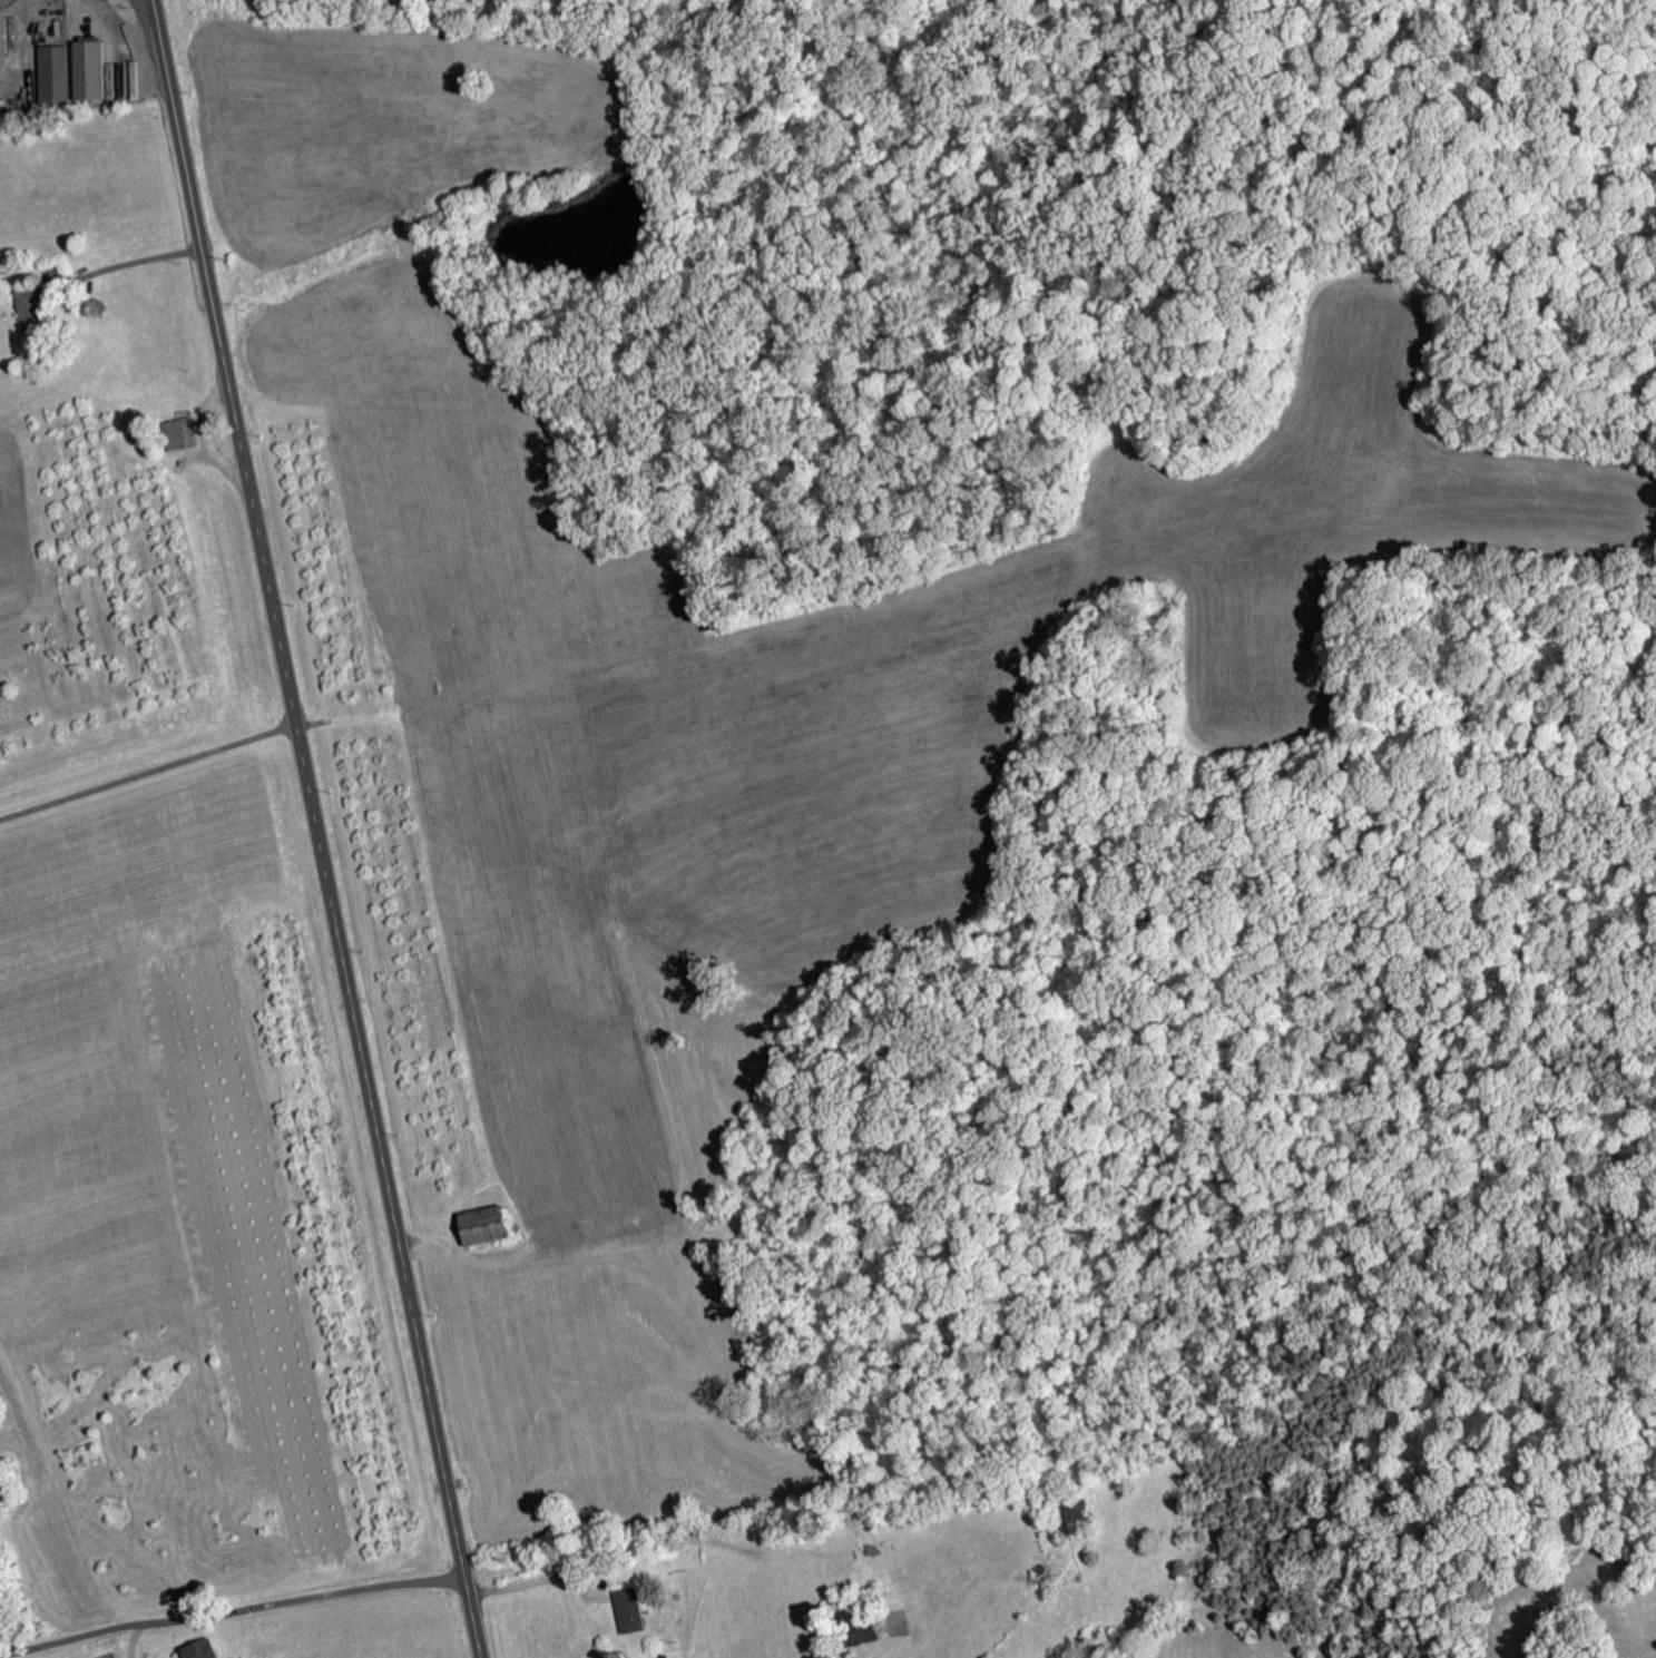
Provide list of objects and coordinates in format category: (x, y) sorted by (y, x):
building: (1, 38)
building: (88, 69)
building: (52, 75)
building: (28, 313)
building: (178, 433)
road: (149, 774)
road: (319, 828)
building: (481, 1225)
road: (852, 1514)
building: (1072, 1515)
building: (628, 1610)
road: (233, 1613)
building: (199, 1649)

